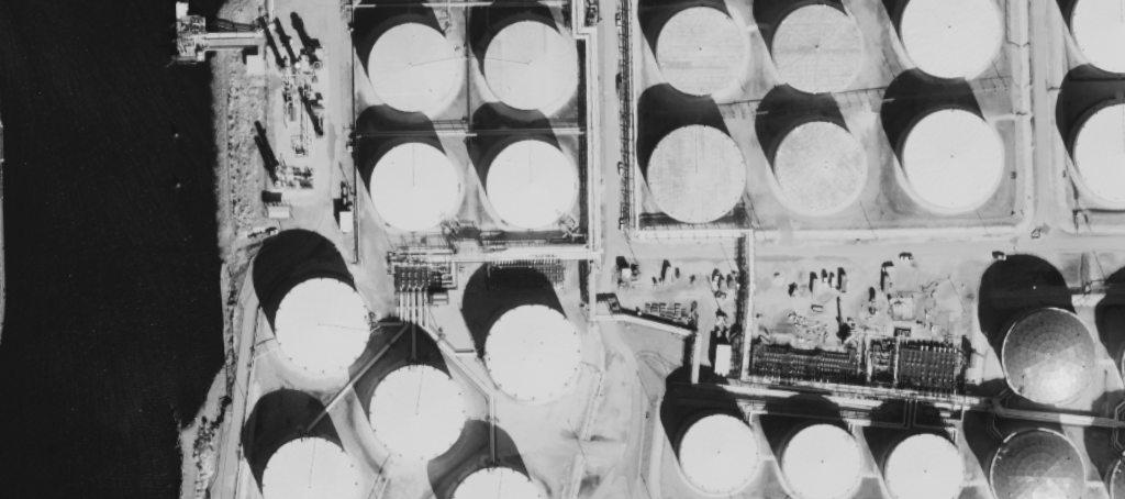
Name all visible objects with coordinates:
building: (1096, 33)
building: (937, 35)
building: (801, 48)
building: (690, 51)
building: (530, 64)
building: (414, 67)
road: (343, 141)
building: (1098, 153)
building: (940, 158)
building: (807, 166)
building: (687, 175)
building: (520, 185)
building: (404, 187)
building: (271, 211)
building: (341, 221)
road: (600, 260)
building: (312, 325)
building: (521, 353)
building: (1036, 355)
building: (717, 358)
building: (967, 401)
building: (406, 414)
building: (709, 455)
building: (812, 463)
building: (1023, 466)
building: (914, 468)
building: (298, 472)
building: (1113, 474)
building: (482, 486)

